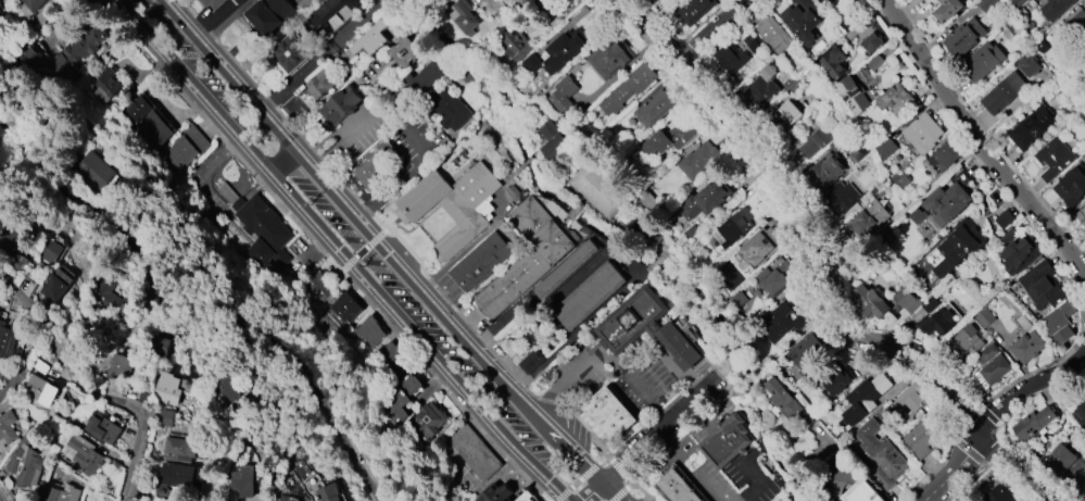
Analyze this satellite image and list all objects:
building: (523, 1)
building: (829, 1)
building: (213, 3)
building: (30, 4)
building: (986, 4)
building: (947, 9)
building: (1057, 9)
building: (693, 10)
building: (268, 14)
building: (329, 15)
road: (212, 16)
building: (465, 18)
building: (800, 20)
road: (226, 21)
building: (1078, 22)
road: (712, 29)
building: (770, 30)
building: (371, 38)
building: (964, 38)
building: (871, 42)
building: (515, 45)
building: (563, 50)
building: (70, 51)
building: (403, 51)
building: (288, 54)
road: (324, 54)
building: (608, 57)
building: (730, 59)
building: (23, 60)
building: (985, 61)
building: (833, 63)
building: (1027, 65)
building: (425, 78)
building: (319, 84)
building: (98, 85)
building: (761, 86)
building: (628, 88)
building: (1006, 93)
building: (563, 95)
building: (851, 95)
road: (1034, 96)
building: (895, 98)
building: (339, 105)
building: (656, 107)
building: (134, 108)
building: (449, 109)
building: (784, 115)
building: (1034, 127)
building: (150, 128)
building: (923, 133)
road: (343, 136)
building: (672, 137)
building: (551, 140)
road: (983, 140)
building: (818, 141)
building: (885, 149)
building: (179, 153)
building: (946, 155)
building: (1056, 159)
building: (698, 160)
road: (285, 162)
building: (374, 165)
building: (90, 171)
building: (824, 171)
building: (1071, 186)
building: (597, 189)
building: (705, 199)
building: (843, 199)
road: (340, 201)
building: (947, 202)
building: (451, 204)
road: (905, 211)
building: (1081, 215)
building: (1004, 218)
building: (868, 220)
building: (735, 227)
building: (262, 234)
building: (10, 243)
building: (759, 246)
building: (957, 248)
road: (341, 250)
building: (49, 251)
road: (362, 251)
road: (465, 251)
building: (1020, 254)
building: (525, 258)
road: (622, 260)
building: (18, 262)
building: (479, 262)
building: (565, 270)
road: (825, 273)
building: (775, 279)
building: (317, 286)
building: (1042, 286)
building: (53, 289)
building: (103, 291)
building: (589, 296)
building: (906, 299)
building: (870, 301)
building: (344, 308)
building: (0, 312)
road: (197, 312)
building: (984, 317)
building: (631, 321)
building: (784, 322)
building: (936, 322)
building: (1059, 324)
road: (805, 329)
building: (368, 331)
building: (966, 340)
building: (7, 342)
building: (679, 346)
building: (157, 347)
building: (1026, 347)
building: (806, 351)
building: (989, 352)
building: (390, 355)
road: (771, 356)
building: (531, 362)
building: (119, 365)
building: (994, 371)
road: (748, 374)
building: (838, 380)
road: (724, 381)
road: (636, 384)
building: (224, 388)
building: (166, 389)
building: (40, 390)
road: (92, 391)
building: (865, 398)
building: (782, 399)
building: (398, 400)
building: (910, 401)
road: (993, 411)
building: (1080, 413)
building: (609, 414)
building: (165, 418)
building: (427, 421)
building: (1035, 422)
building: (7, 427)
building: (103, 428)
building: (921, 436)
road: (647, 438)
building: (727, 441)
building: (178, 449)
building: (475, 452)
road: (565, 452)
building: (881, 453)
building: (85, 455)
building: (25, 462)
building: (1065, 465)
building: (180, 478)
building: (241, 480)
road: (764, 481)
building: (678, 486)
building: (330, 492)
building: (495, 492)
building: (861, 492)
building: (61, 493)
building: (998, 493)
building: (525, 497)
road: (921, 499)

